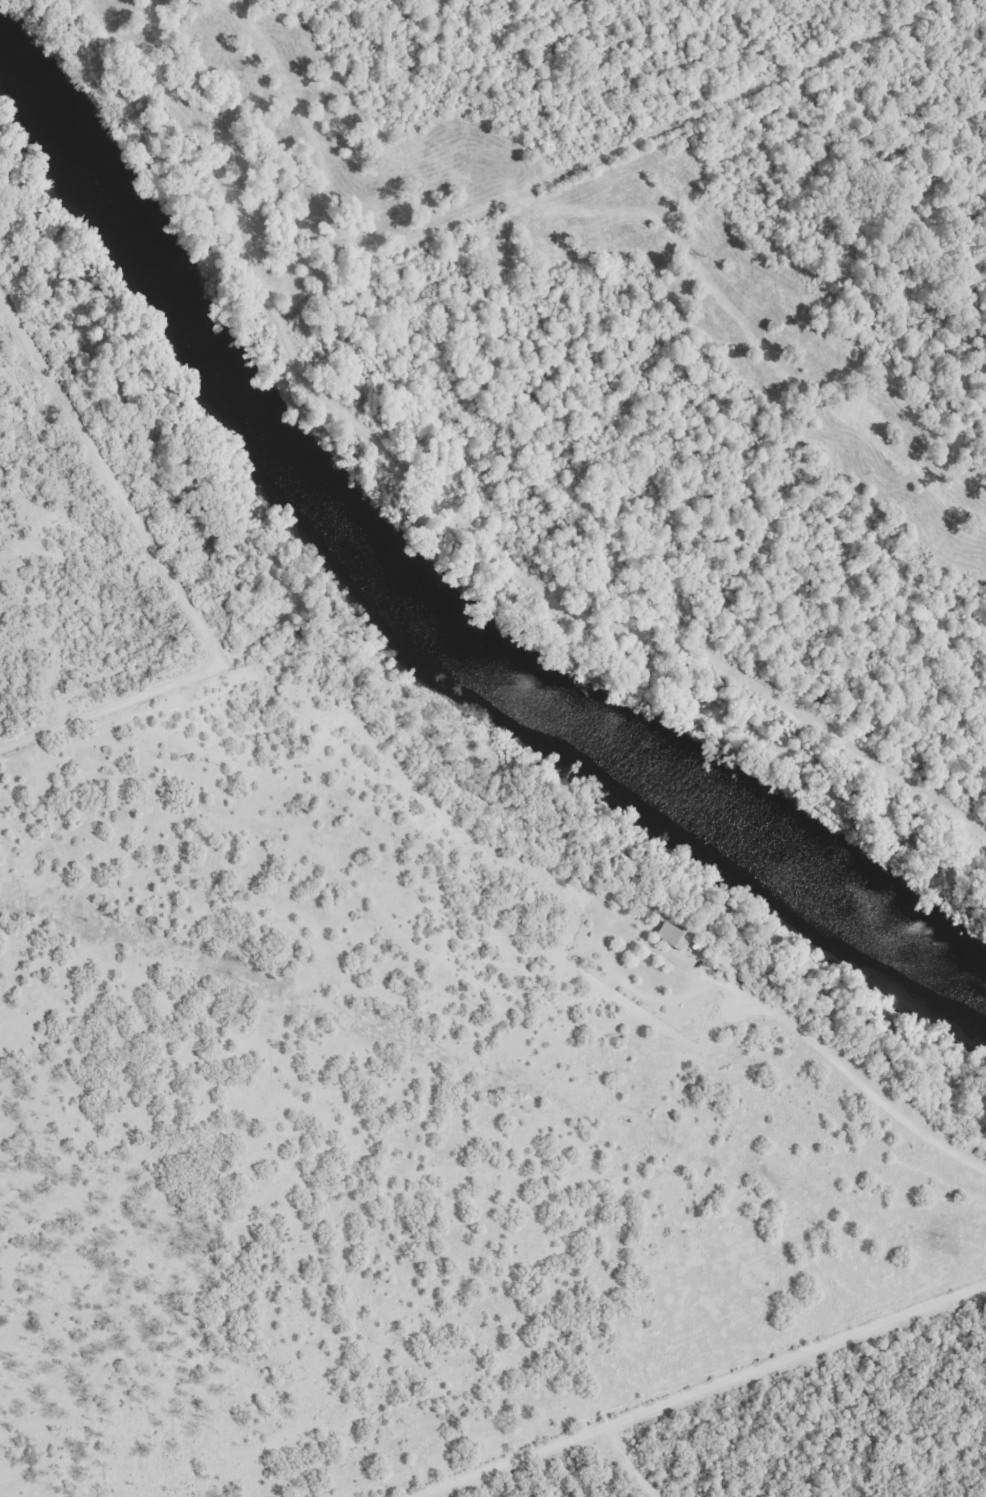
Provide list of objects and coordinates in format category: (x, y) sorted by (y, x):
road: (741, 98)
road: (594, 208)
river: (428, 608)
building: (674, 936)
road: (700, 1392)
road: (637, 1463)

